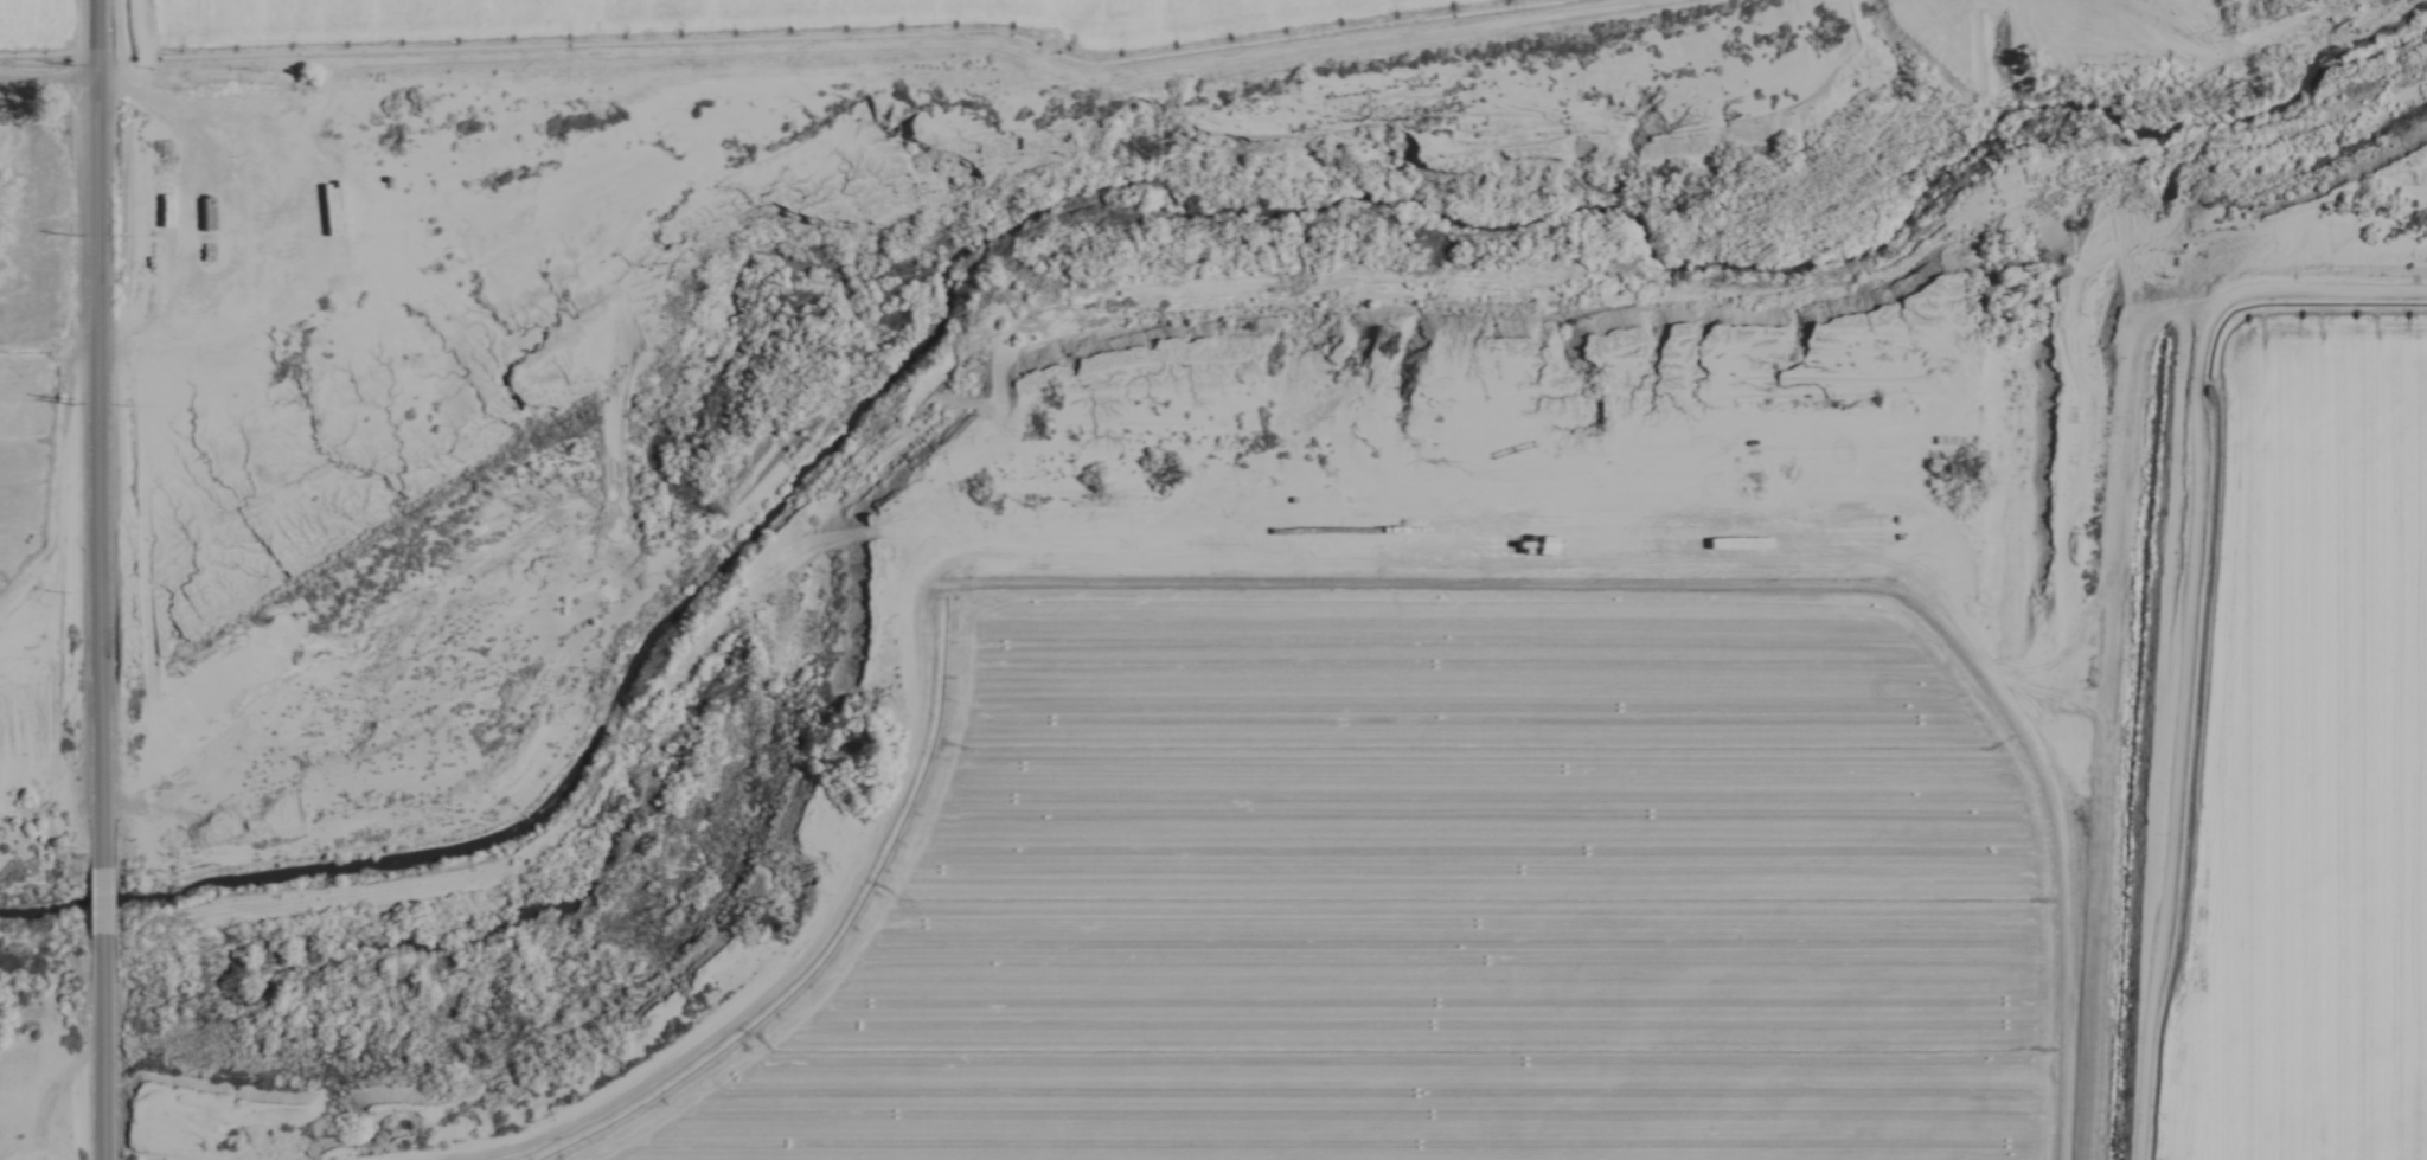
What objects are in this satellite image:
crop: (28, 4)
road: (62, 121)
road: (113, 434)
road: (98, 902)
road: (101, 1049)

